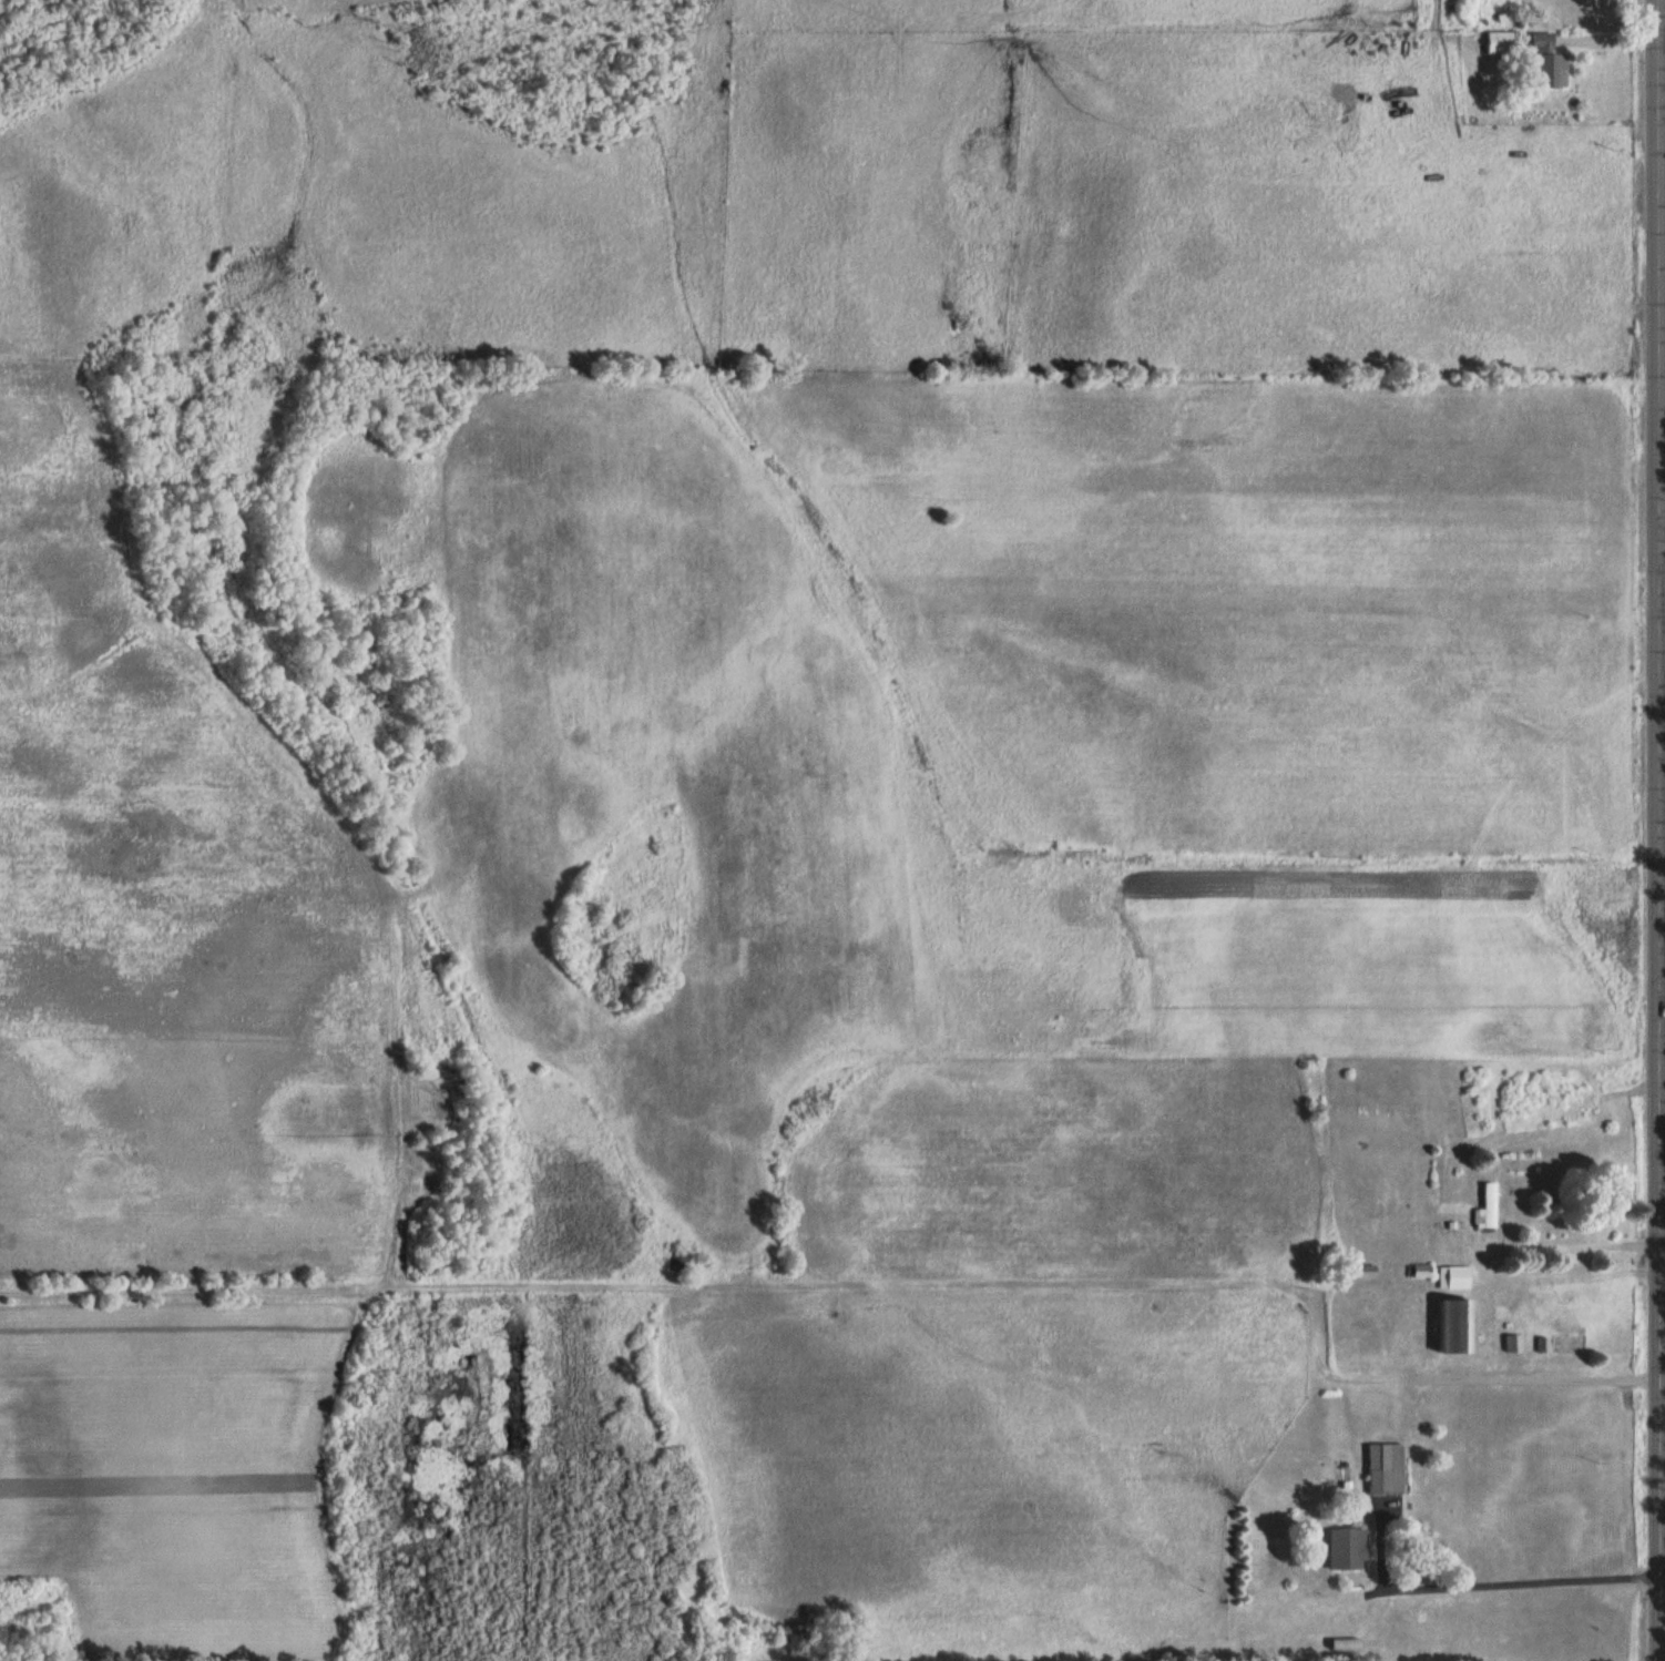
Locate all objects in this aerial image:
building: (1494, 42)
building: (1544, 58)
road: (1659, 830)
building: (1481, 1205)
building: (1451, 1276)
building: (1450, 1324)
building: (1513, 1342)
building: (1390, 1464)
building: (1348, 1547)

